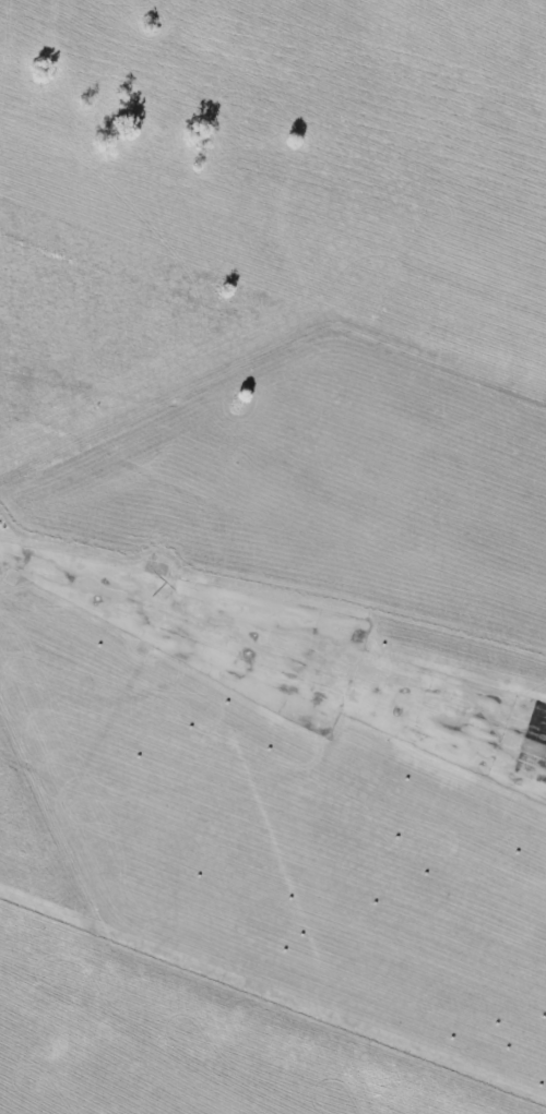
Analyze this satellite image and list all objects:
road: (527, 746)

